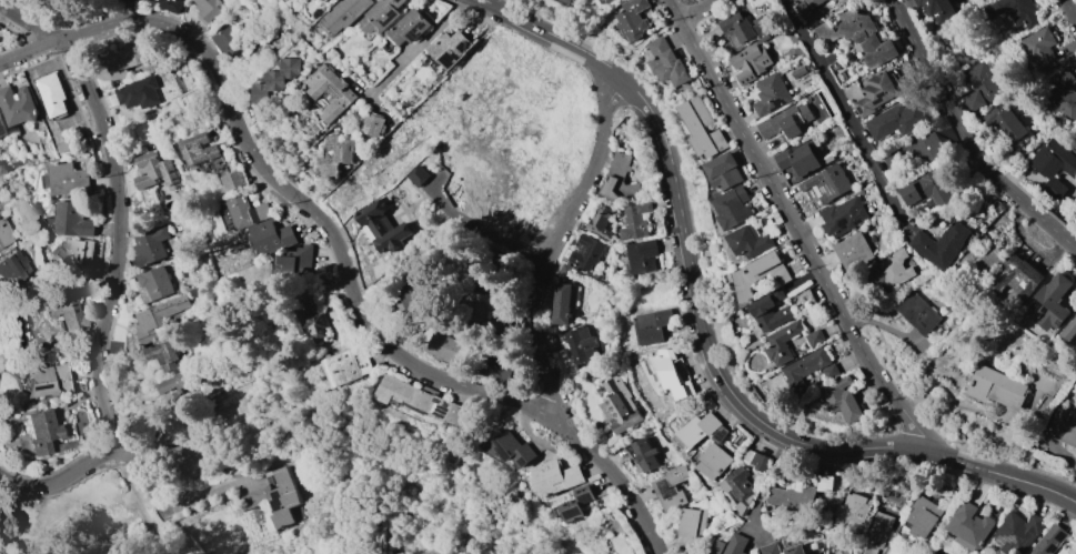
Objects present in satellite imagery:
building: (138, 0)
building: (323, 0)
building: (606, 1)
building: (565, 2)
building: (812, 3)
building: (170, 4)
road: (491, 4)
road: (702, 9)
building: (803, 9)
building: (207, 10)
building: (1013, 11)
building: (936, 12)
road: (1069, 12)
building: (343, 13)
building: (381, 16)
building: (632, 19)
road: (27, 23)
road: (104, 23)
building: (744, 24)
building: (409, 27)
road: (660, 30)
building: (857, 36)
building: (229, 43)
road: (419, 47)
building: (448, 48)
building: (1038, 48)
road: (29, 51)
building: (124, 59)
building: (666, 62)
building: (750, 62)
building: (276, 80)
building: (981, 85)
road: (222, 88)
building: (331, 91)
building: (138, 92)
building: (52, 93)
building: (874, 93)
building: (770, 94)
building: (1060, 94)
building: (17, 105)
road: (853, 113)
building: (897, 120)
building: (785, 121)
building: (1004, 122)
building: (372, 123)
building: (1, 128)
building: (702, 128)
road: (664, 133)
road: (965, 139)
building: (69, 147)
building: (201, 148)
building: (918, 152)
building: (336, 154)
building: (797, 160)
building: (1053, 163)
building: (154, 171)
building: (724, 171)
building: (418, 174)
building: (68, 179)
building: (230, 179)
building: (621, 181)
building: (828, 183)
building: (928, 189)
building: (733, 208)
building: (241, 213)
building: (843, 215)
building: (73, 219)
building: (599, 220)
building: (635, 221)
building: (383, 224)
road: (800, 228)
building: (4, 233)
road: (117, 236)
building: (269, 238)
road: (335, 241)
building: (748, 241)
road: (557, 244)
building: (944, 244)
building: (150, 245)
building: (585, 252)
building: (855, 252)
building: (79, 256)
building: (641, 256)
building: (293, 262)
building: (12, 268)
building: (898, 269)
building: (760, 273)
building: (1018, 279)
building: (132, 284)
building: (153, 284)
building: (193, 291)
building: (564, 294)
building: (419, 298)
building: (1054, 301)
building: (489, 306)
building: (64, 310)
building: (770, 311)
building: (921, 312)
building: (158, 319)
building: (312, 324)
building: (653, 326)
building: (1069, 330)
building: (405, 336)
building: (814, 338)
building: (782, 342)
building: (579, 343)
building: (451, 349)
building: (163, 354)
building: (805, 365)
building: (348, 366)
building: (654, 367)
building: (503, 369)
building: (829, 371)
building: (675, 373)
building: (44, 381)
road: (453, 382)
building: (998, 386)
building: (175, 387)
building: (841, 399)
building: (423, 400)
building: (620, 406)
road: (755, 417)
building: (1064, 426)
building: (696, 431)
building: (40, 433)
building: (720, 434)
road: (580, 441)
building: (509, 446)
road: (882, 449)
building: (642, 454)
building: (713, 461)
building: (758, 462)
road: (963, 463)
road: (121, 475)
road: (62, 477)
road: (141, 477)
building: (553, 477)
building: (824, 483)
road: (1038, 486)
building: (671, 487)
building: (737, 488)
building: (281, 496)
building: (791, 497)
building: (892, 500)
building: (572, 503)
road: (637, 508)
building: (852, 512)
building: (923, 516)
park: (88, 522)
building: (692, 522)
building: (969, 526)
road: (149, 531)
building: (875, 532)
building: (1017, 533)
building: (1048, 541)
building: (730, 545)
building: (768, 548)
building: (894, 551)
building: (1075, 553)

